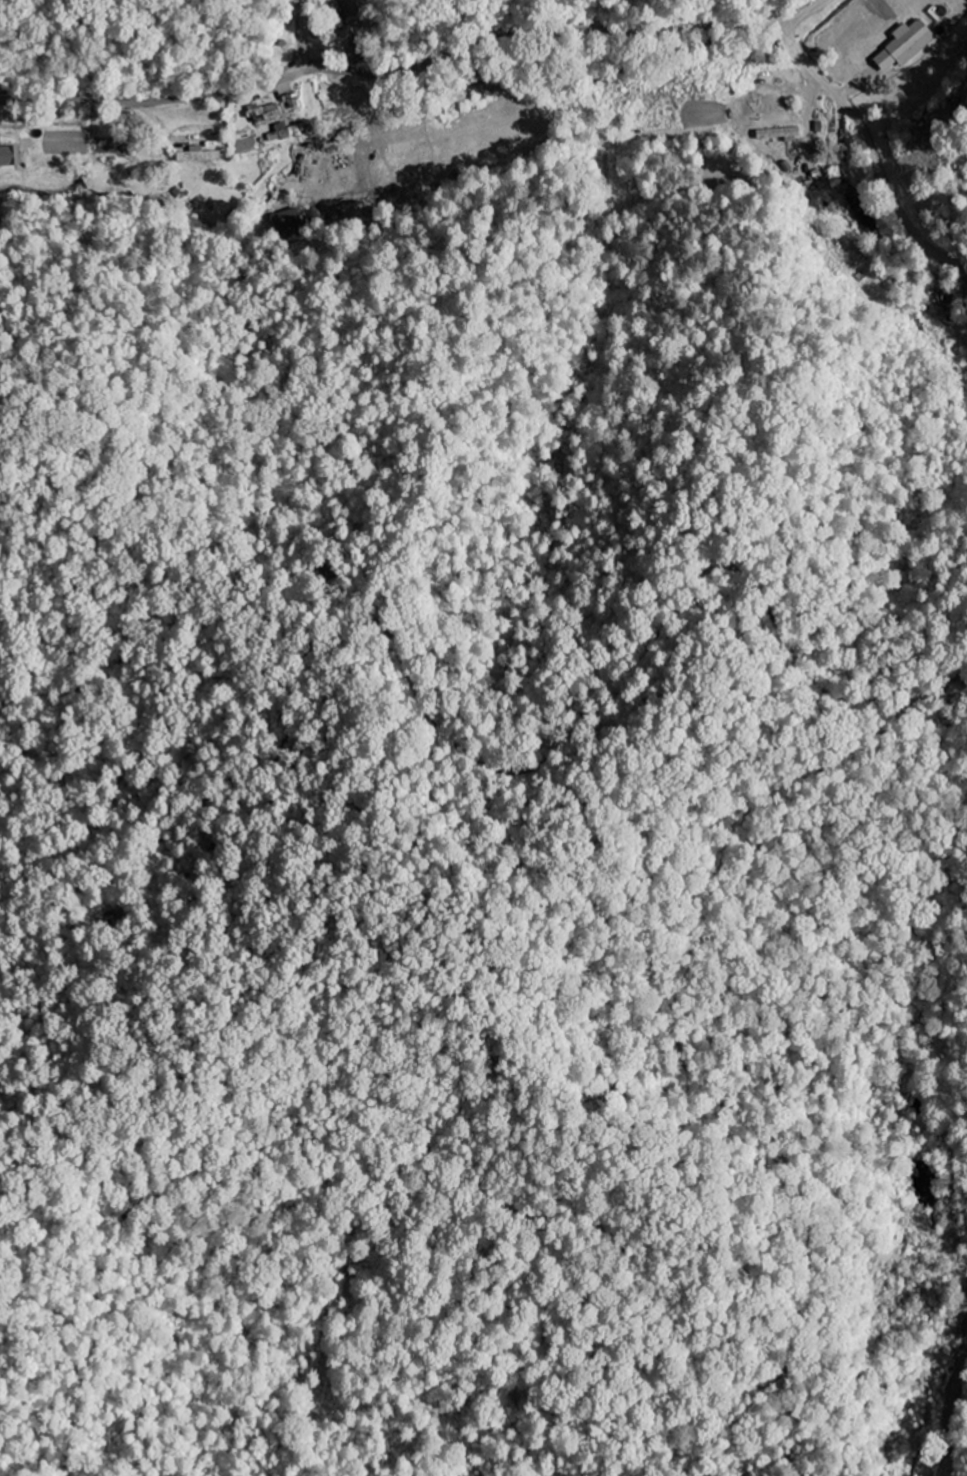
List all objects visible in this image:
building: (904, 45)
road: (68, 49)
road: (416, 66)
building: (264, 113)
building: (286, 131)
building: (778, 134)
road: (872, 149)
building: (197, 155)
building: (4, 157)
building: (285, 219)
road: (951, 1413)

